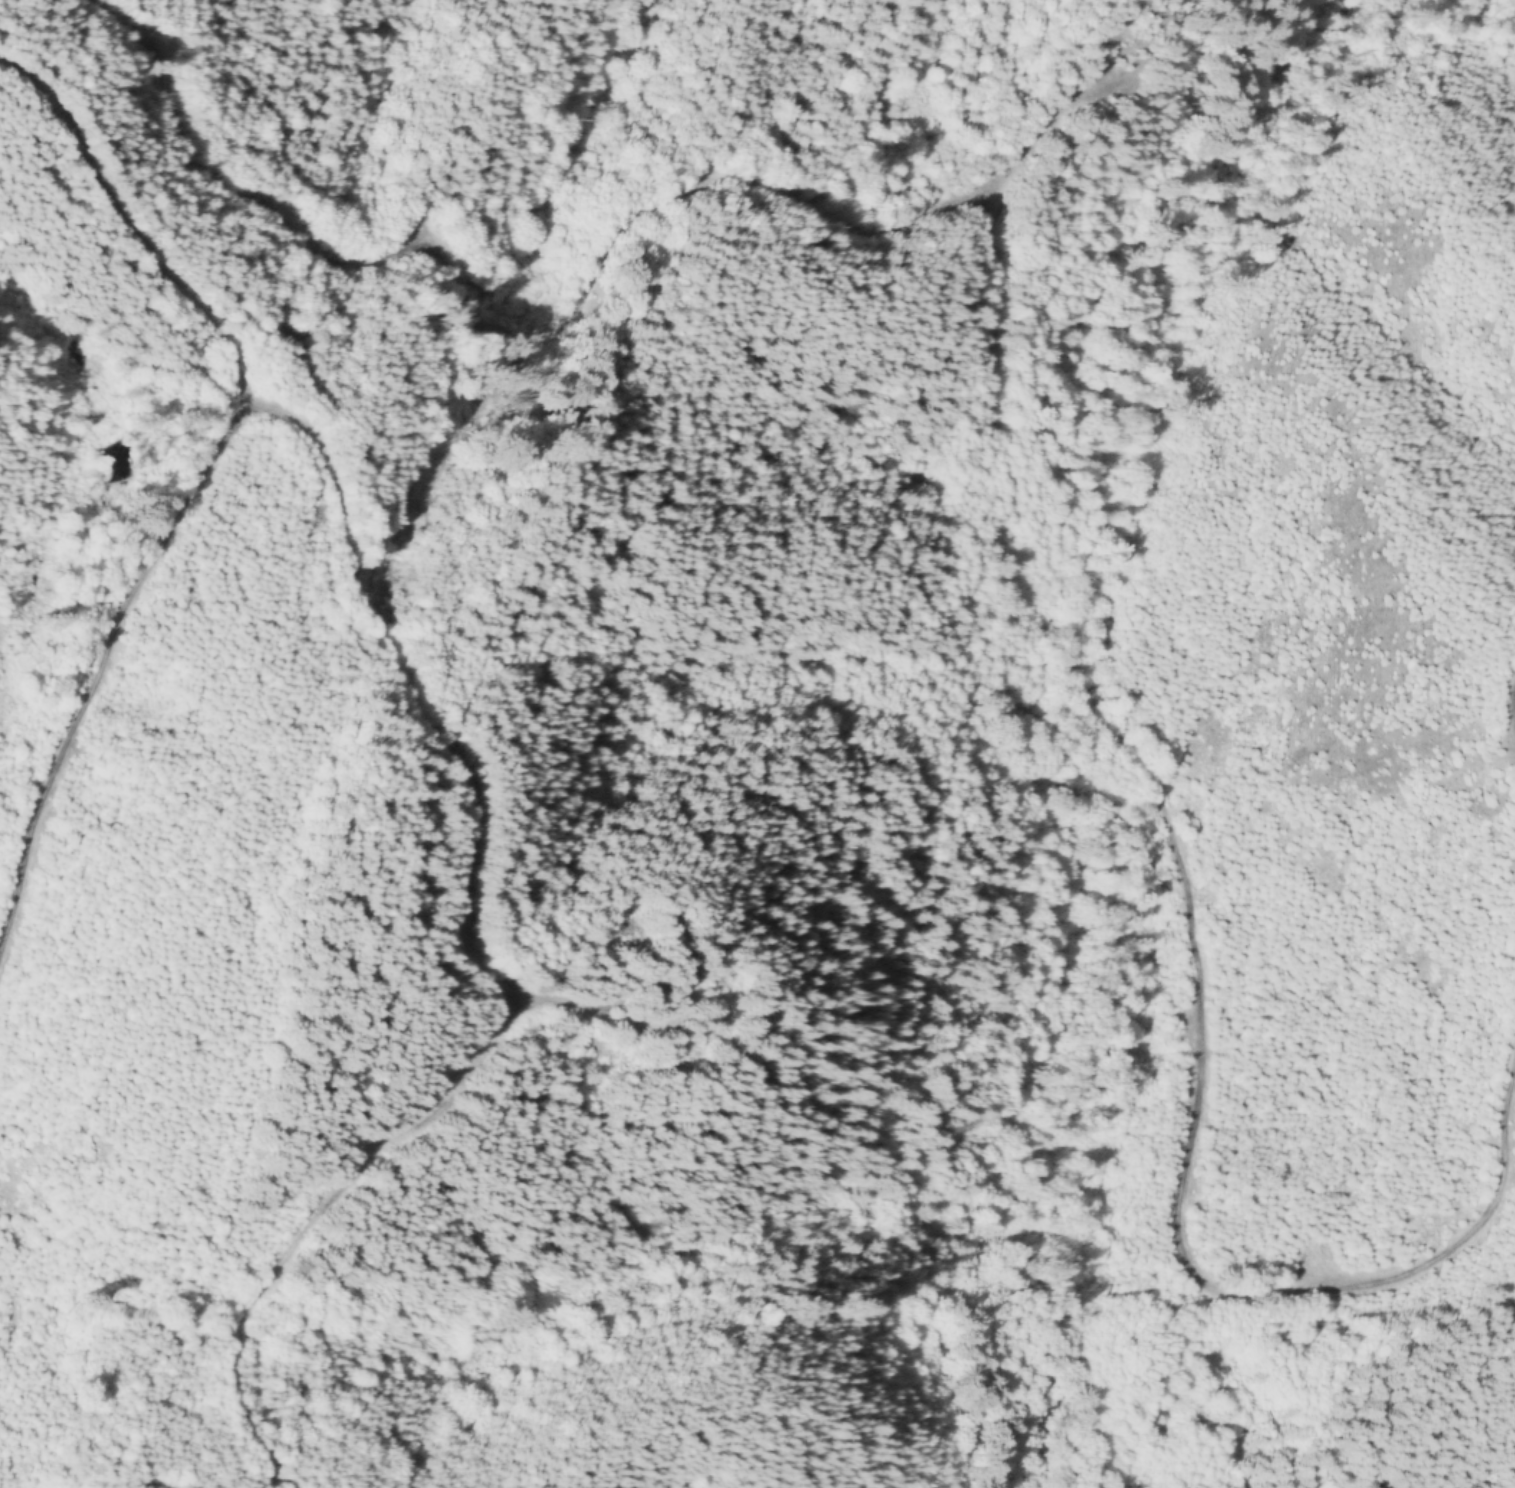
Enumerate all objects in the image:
road: (568, 314)
road: (199, 481)
road: (1510, 714)
road: (464, 770)
road: (1190, 947)
road: (311, 1220)

